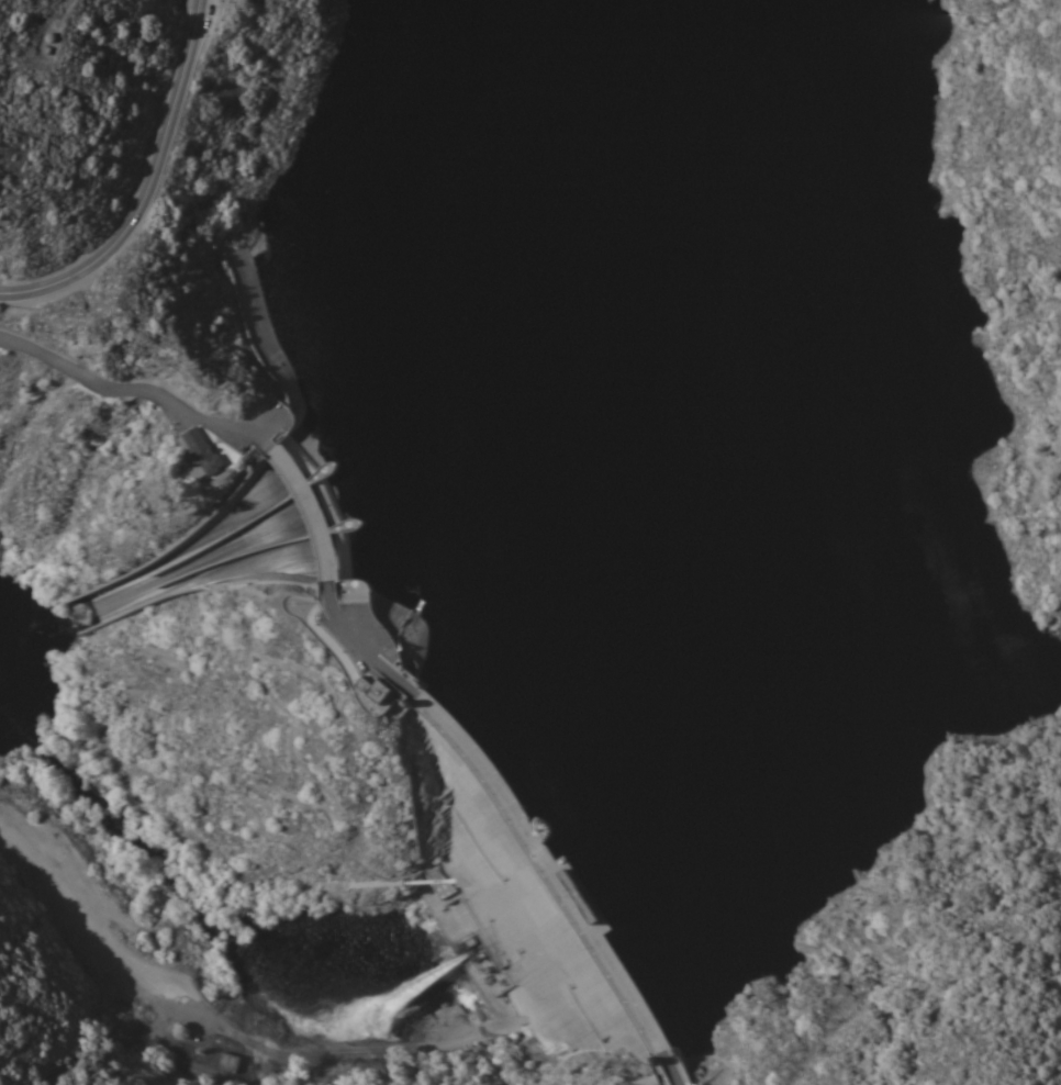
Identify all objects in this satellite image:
road: (60, 21)
road: (148, 188)
road: (133, 390)
building: (203, 454)
building: (378, 687)
dam: (416, 759)
building: (589, 909)
river: (201, 915)
river: (523, 928)
road: (220, 1022)
road: (163, 1038)
building: (220, 1063)
building: (208, 1084)

